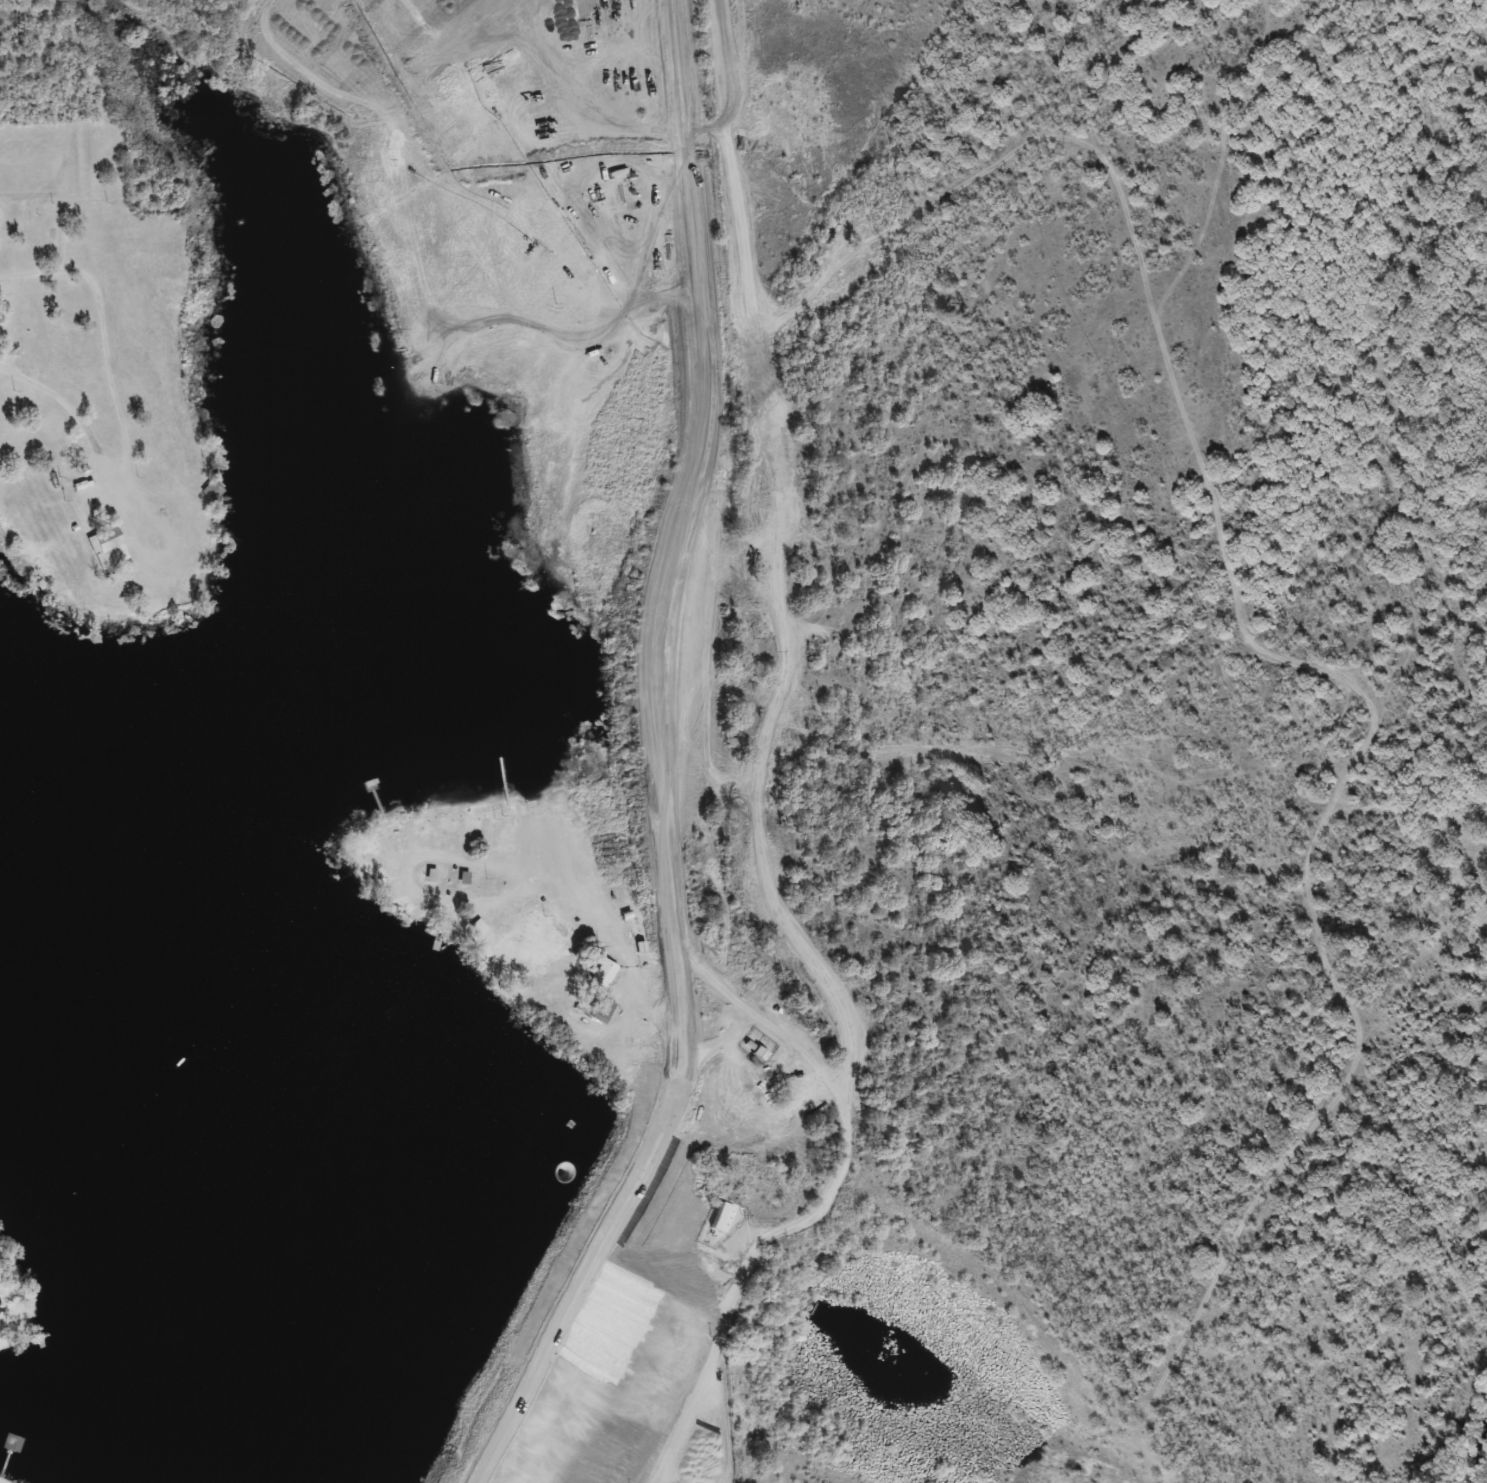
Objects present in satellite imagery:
road: (117, 497)
building: (266, 529)
building: (112, 550)
building: (360, 763)
road: (655, 763)
building: (380, 920)
building: (485, 931)
building: (605, 973)
building: (596, 1007)
river: (281, 1036)
building: (749, 1050)
road: (819, 1216)
river: (689, 1239)
river: (923, 1379)
building: (14, 1445)
river: (1477, 1459)
river: (1082, 1462)

